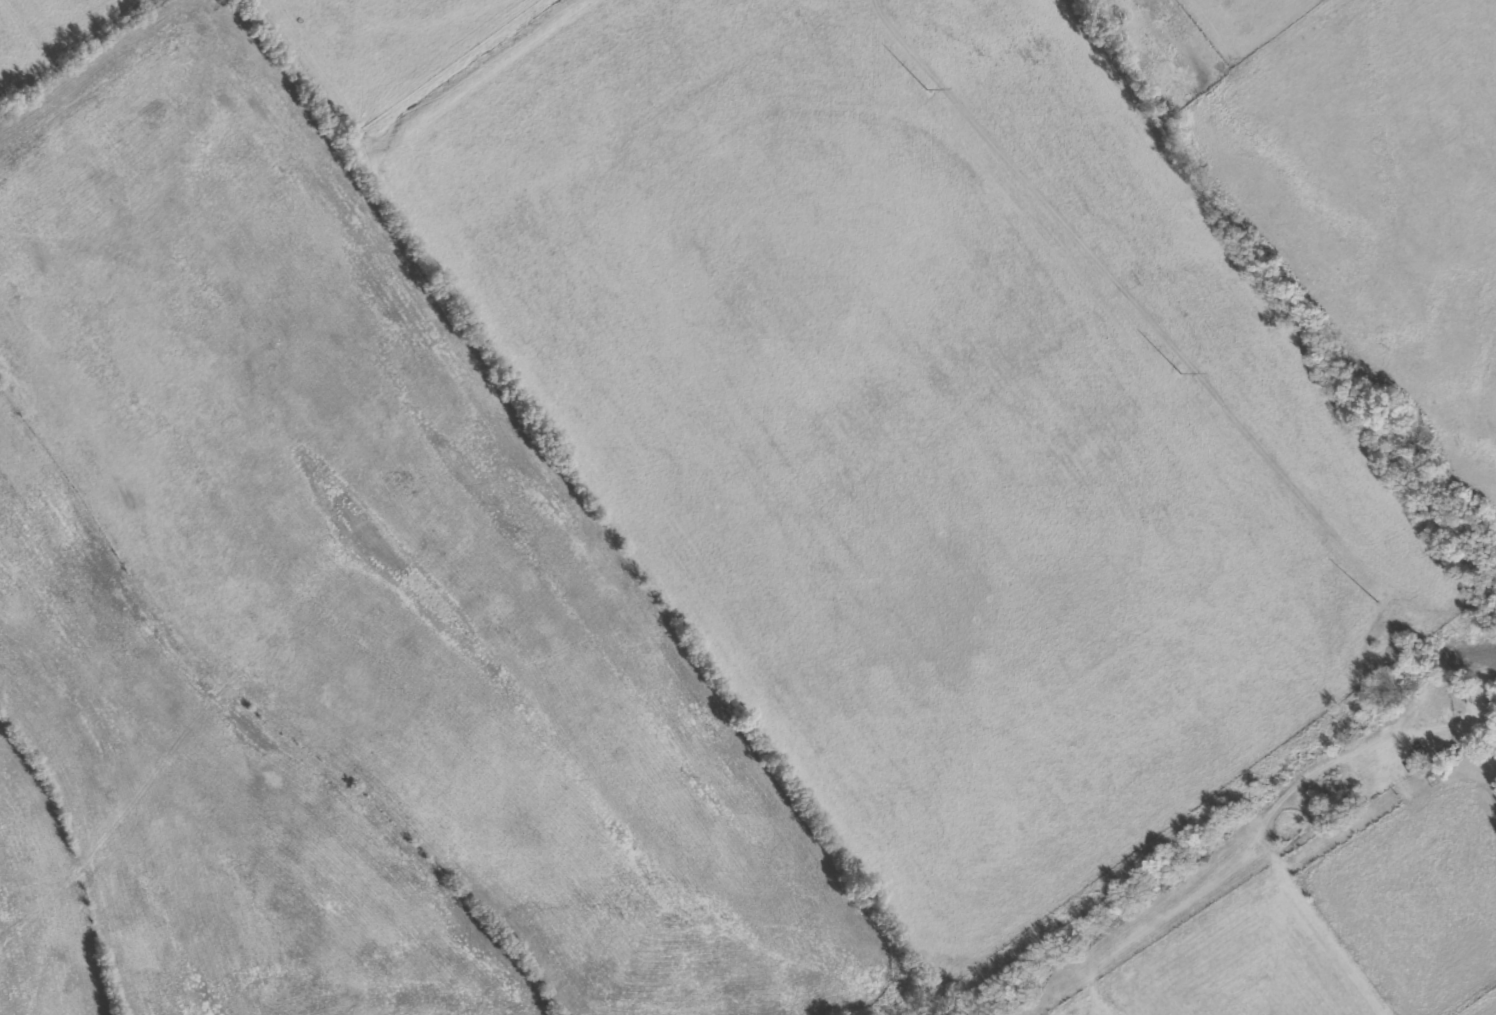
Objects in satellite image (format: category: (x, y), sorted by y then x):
building: (1467, 693)
building: (1328, 779)

